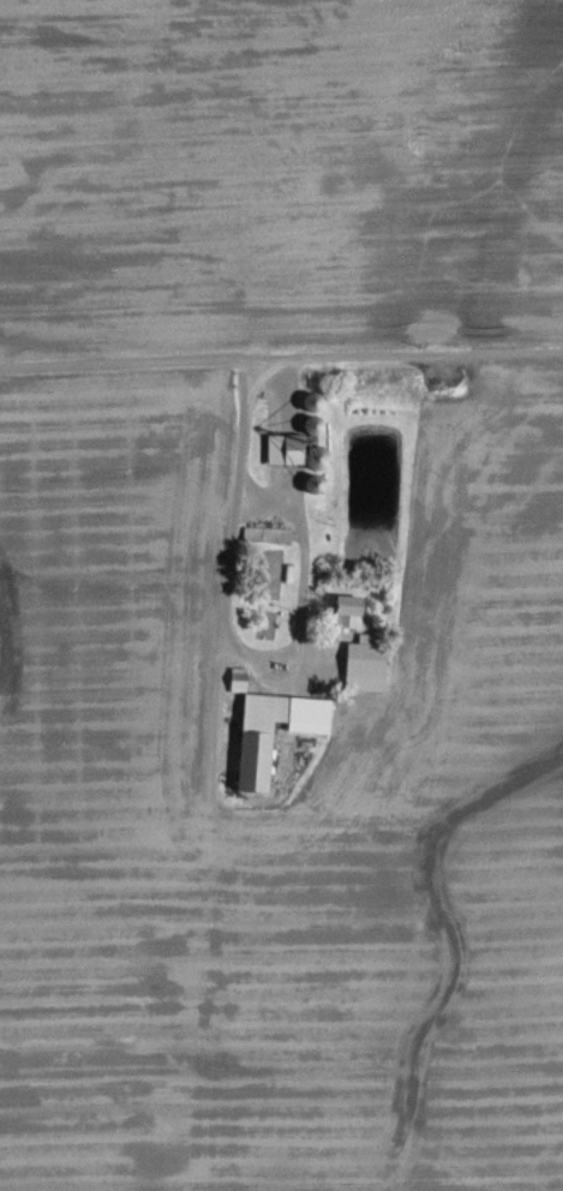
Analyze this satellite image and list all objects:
road: (281, 355)
building: (289, 449)
building: (268, 534)
building: (351, 610)
road: (228, 629)
building: (369, 666)
building: (260, 730)

